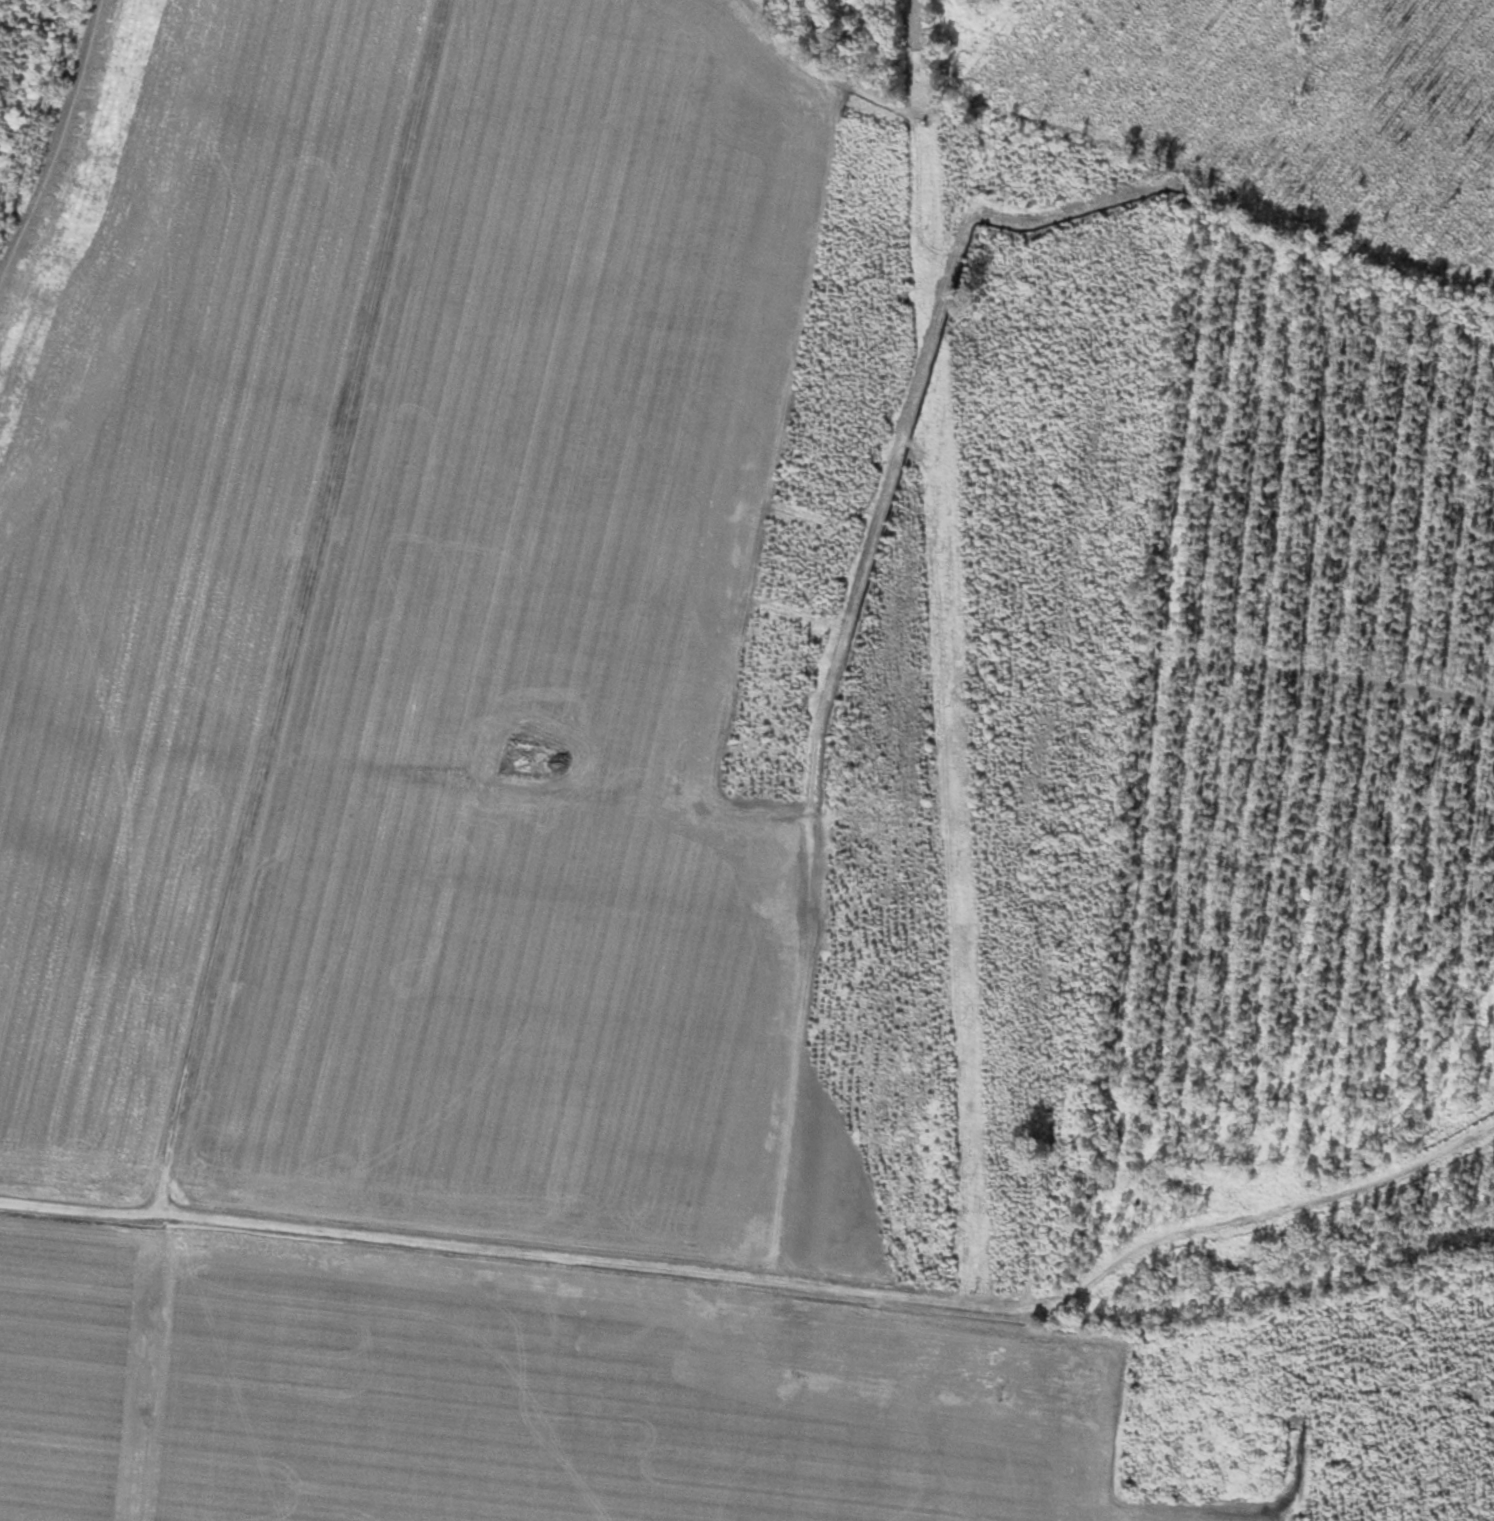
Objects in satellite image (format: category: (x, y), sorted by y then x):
road: (21, 1202)

